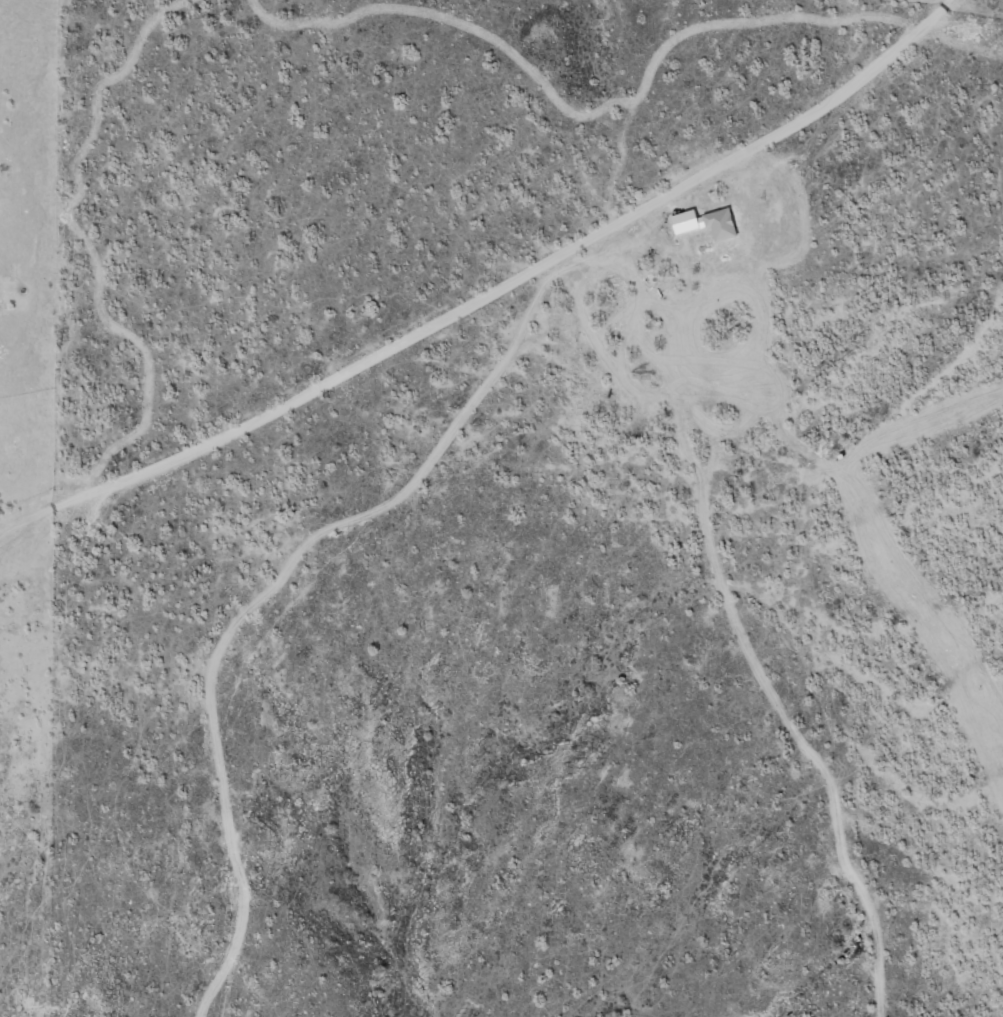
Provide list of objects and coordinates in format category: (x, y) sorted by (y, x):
road: (775, 137)
building: (717, 224)
road: (294, 397)
road: (279, 590)
road: (753, 617)

